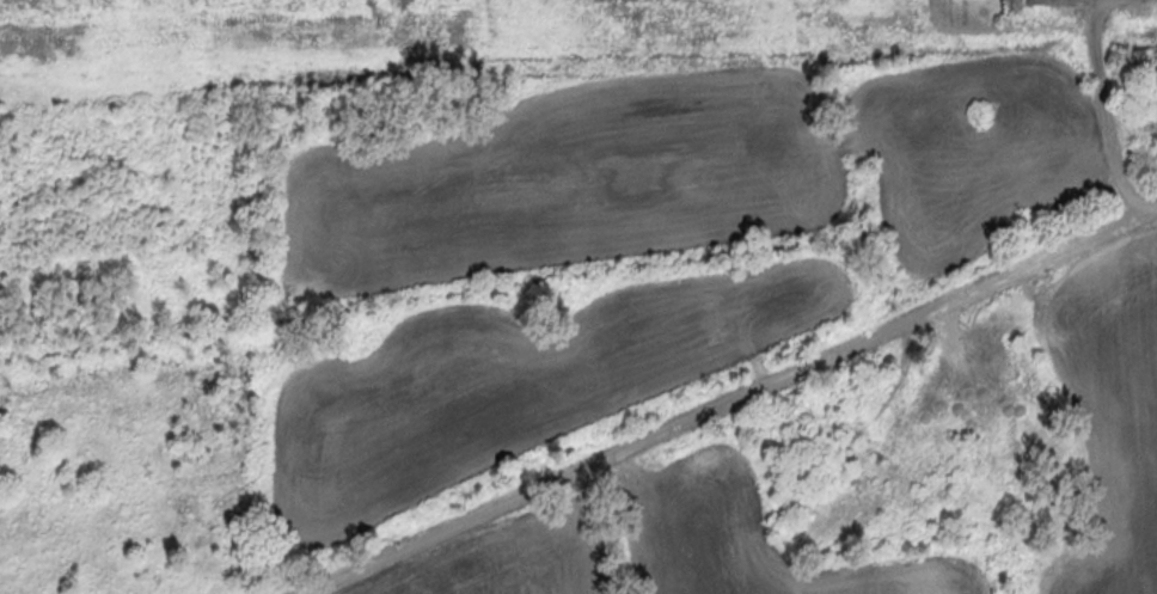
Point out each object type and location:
power tower: (1010, 0)
power tower: (379, 17)
road: (1101, 100)
road: (739, 404)

